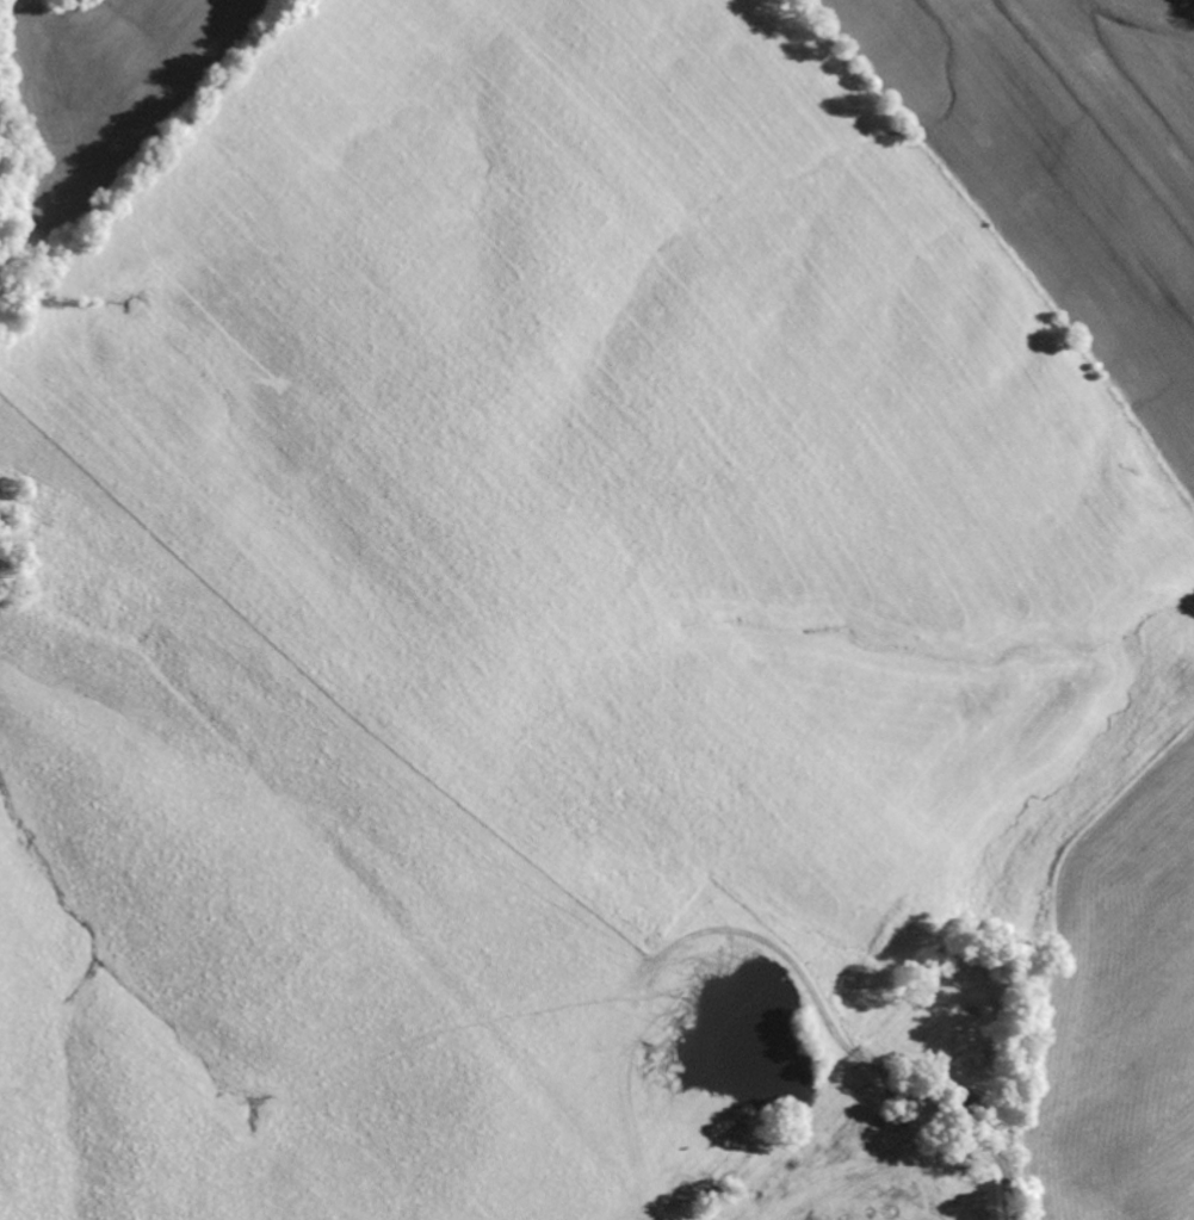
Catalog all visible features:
building: (895, 1126)
road: (1007, 1203)

